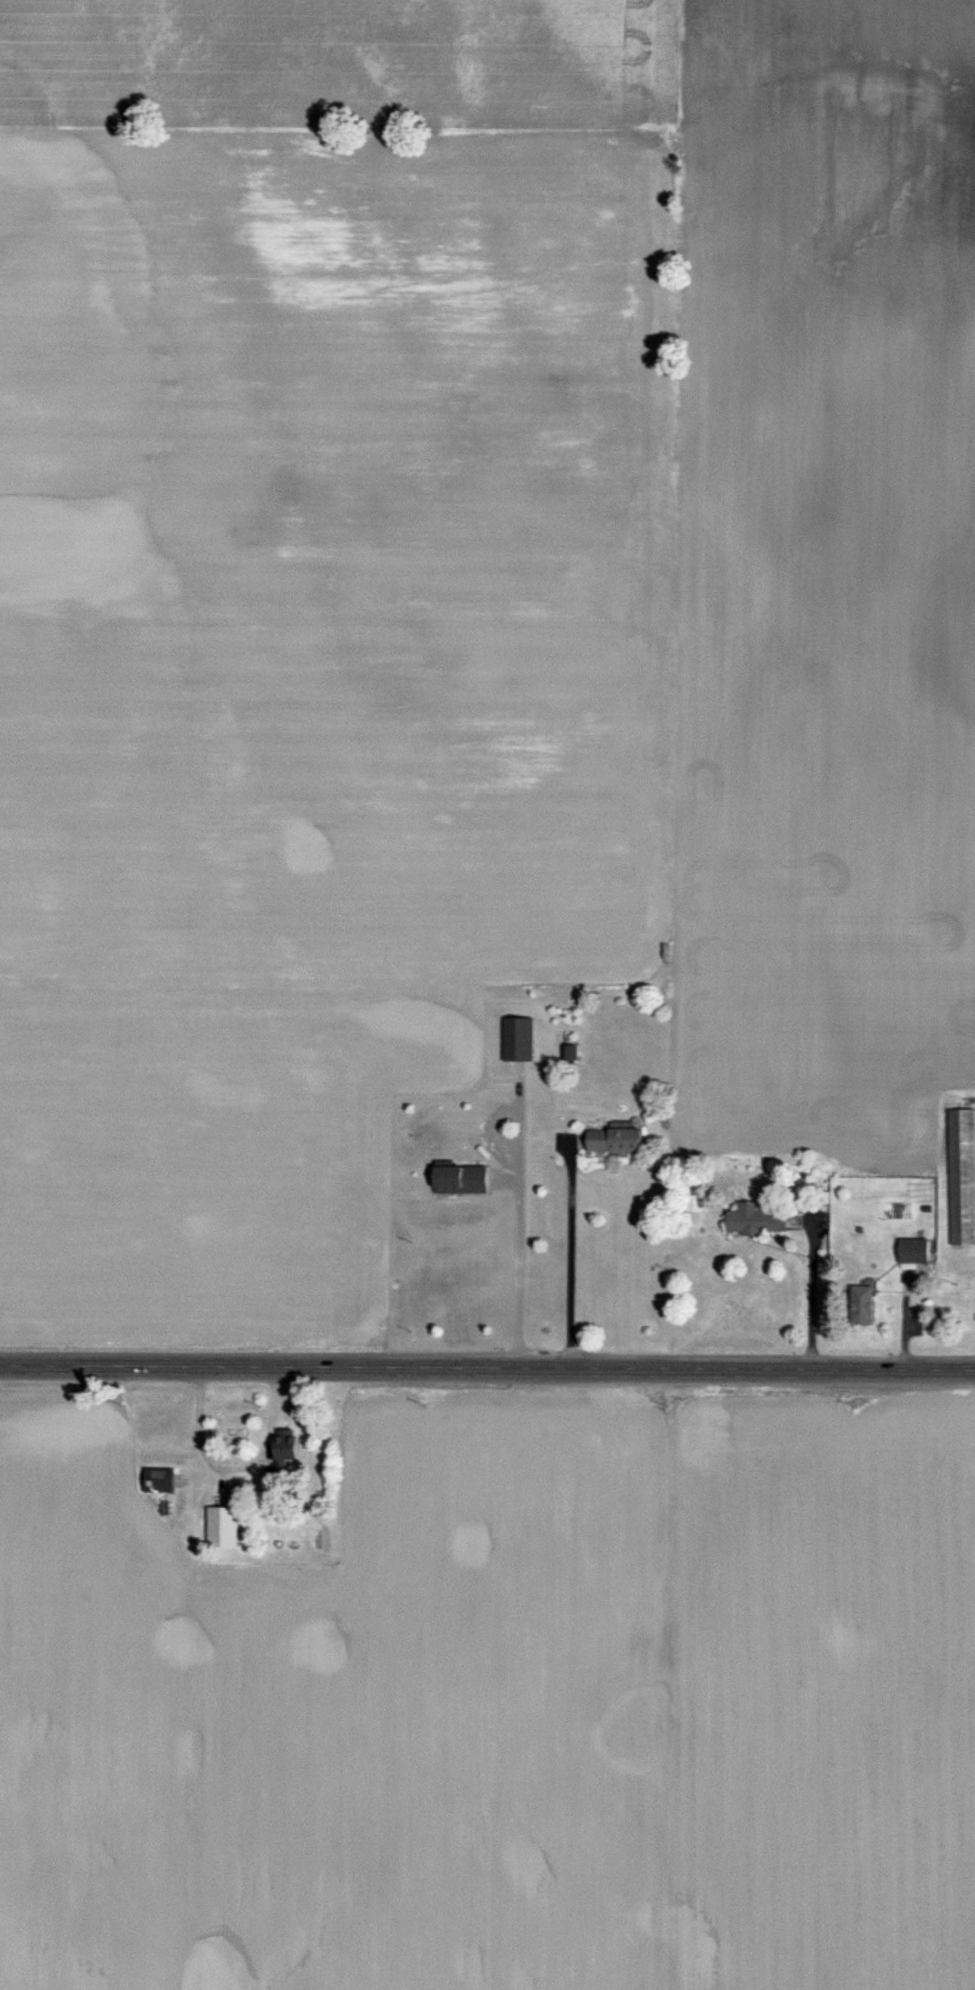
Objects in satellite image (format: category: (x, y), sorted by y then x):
building: (516, 1041)
building: (567, 1054)
building: (612, 1140)
building: (960, 1179)
building: (458, 1182)
building: (753, 1223)
road: (498, 1224)
building: (910, 1253)
road: (973, 1253)
road: (550, 1257)
road: (794, 1296)
building: (859, 1308)
road: (487, 1372)
building: (281, 1450)
road: (214, 1460)
building: (155, 1484)
building: (217, 1531)

